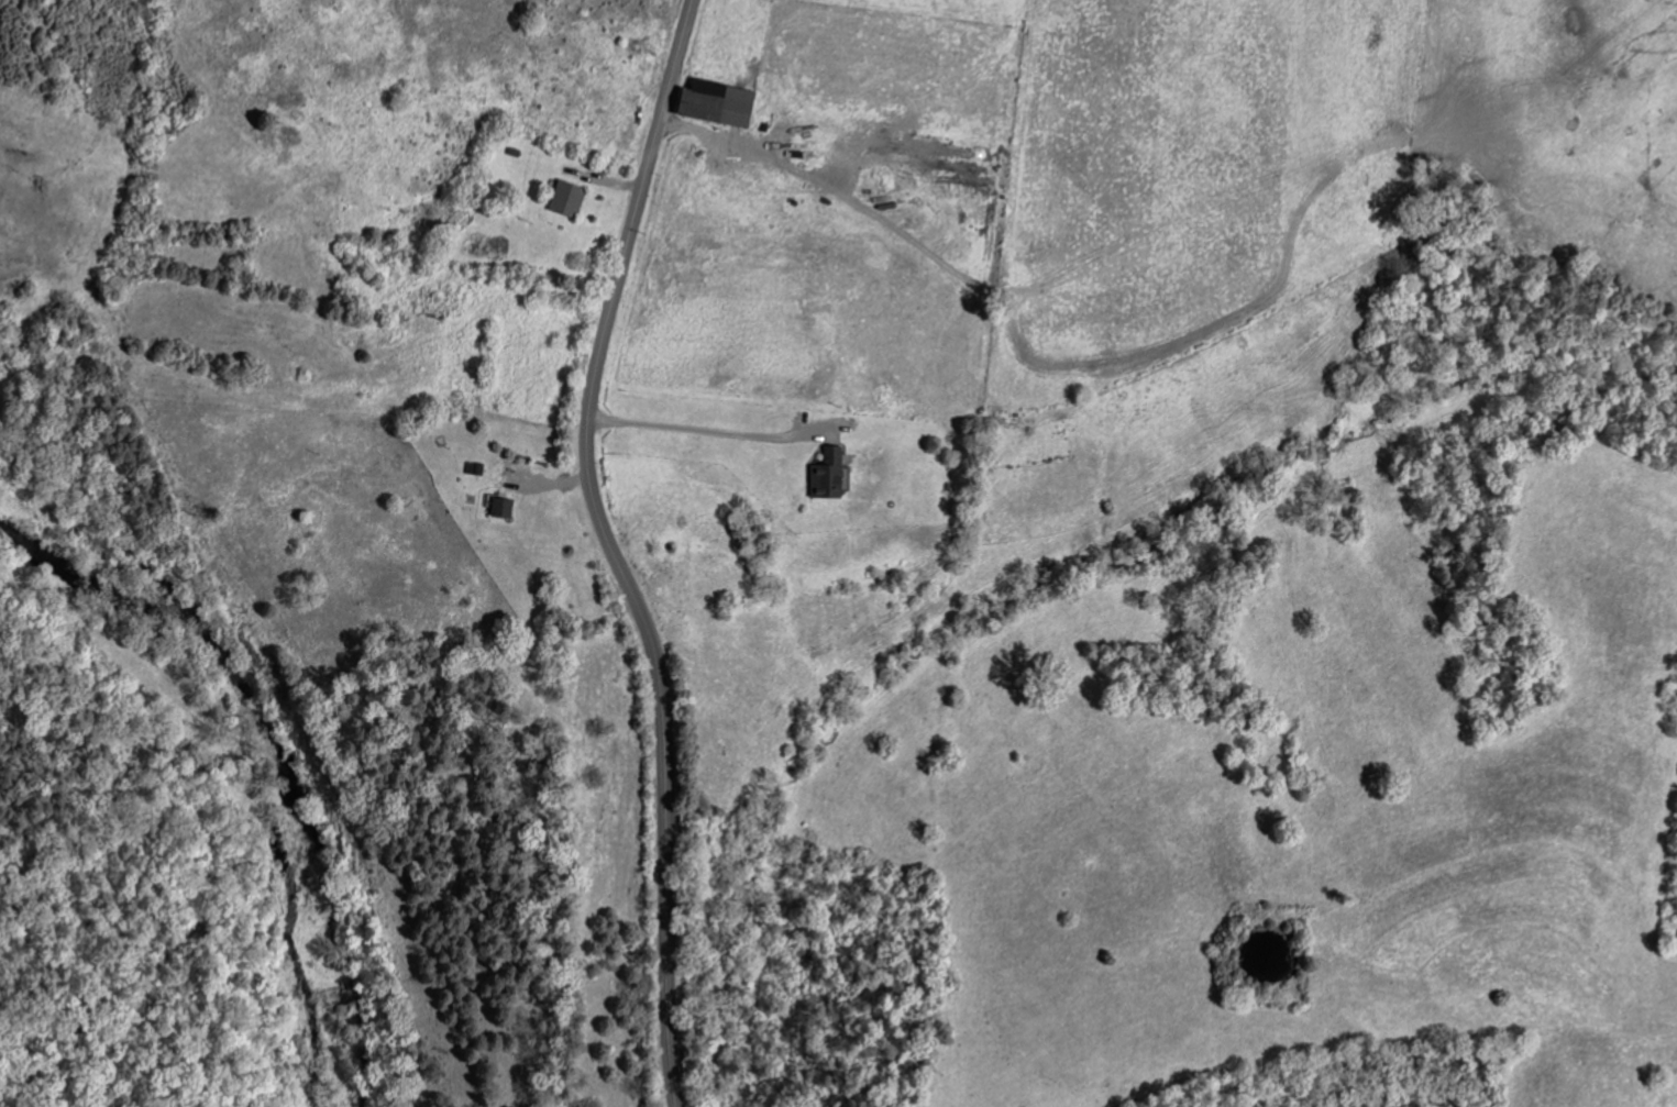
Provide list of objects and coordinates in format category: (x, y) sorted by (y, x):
building: (708, 103)
road: (825, 187)
building: (564, 200)
road: (700, 419)
building: (823, 475)
road: (611, 550)

